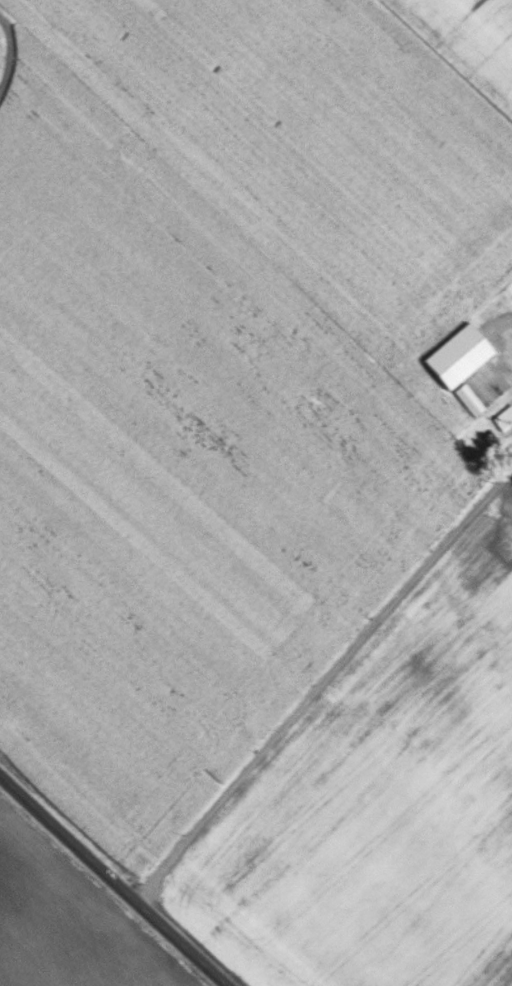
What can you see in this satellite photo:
building: (456, 355)
building: (467, 399)
building: (502, 417)
road: (317, 685)
road: (113, 880)

